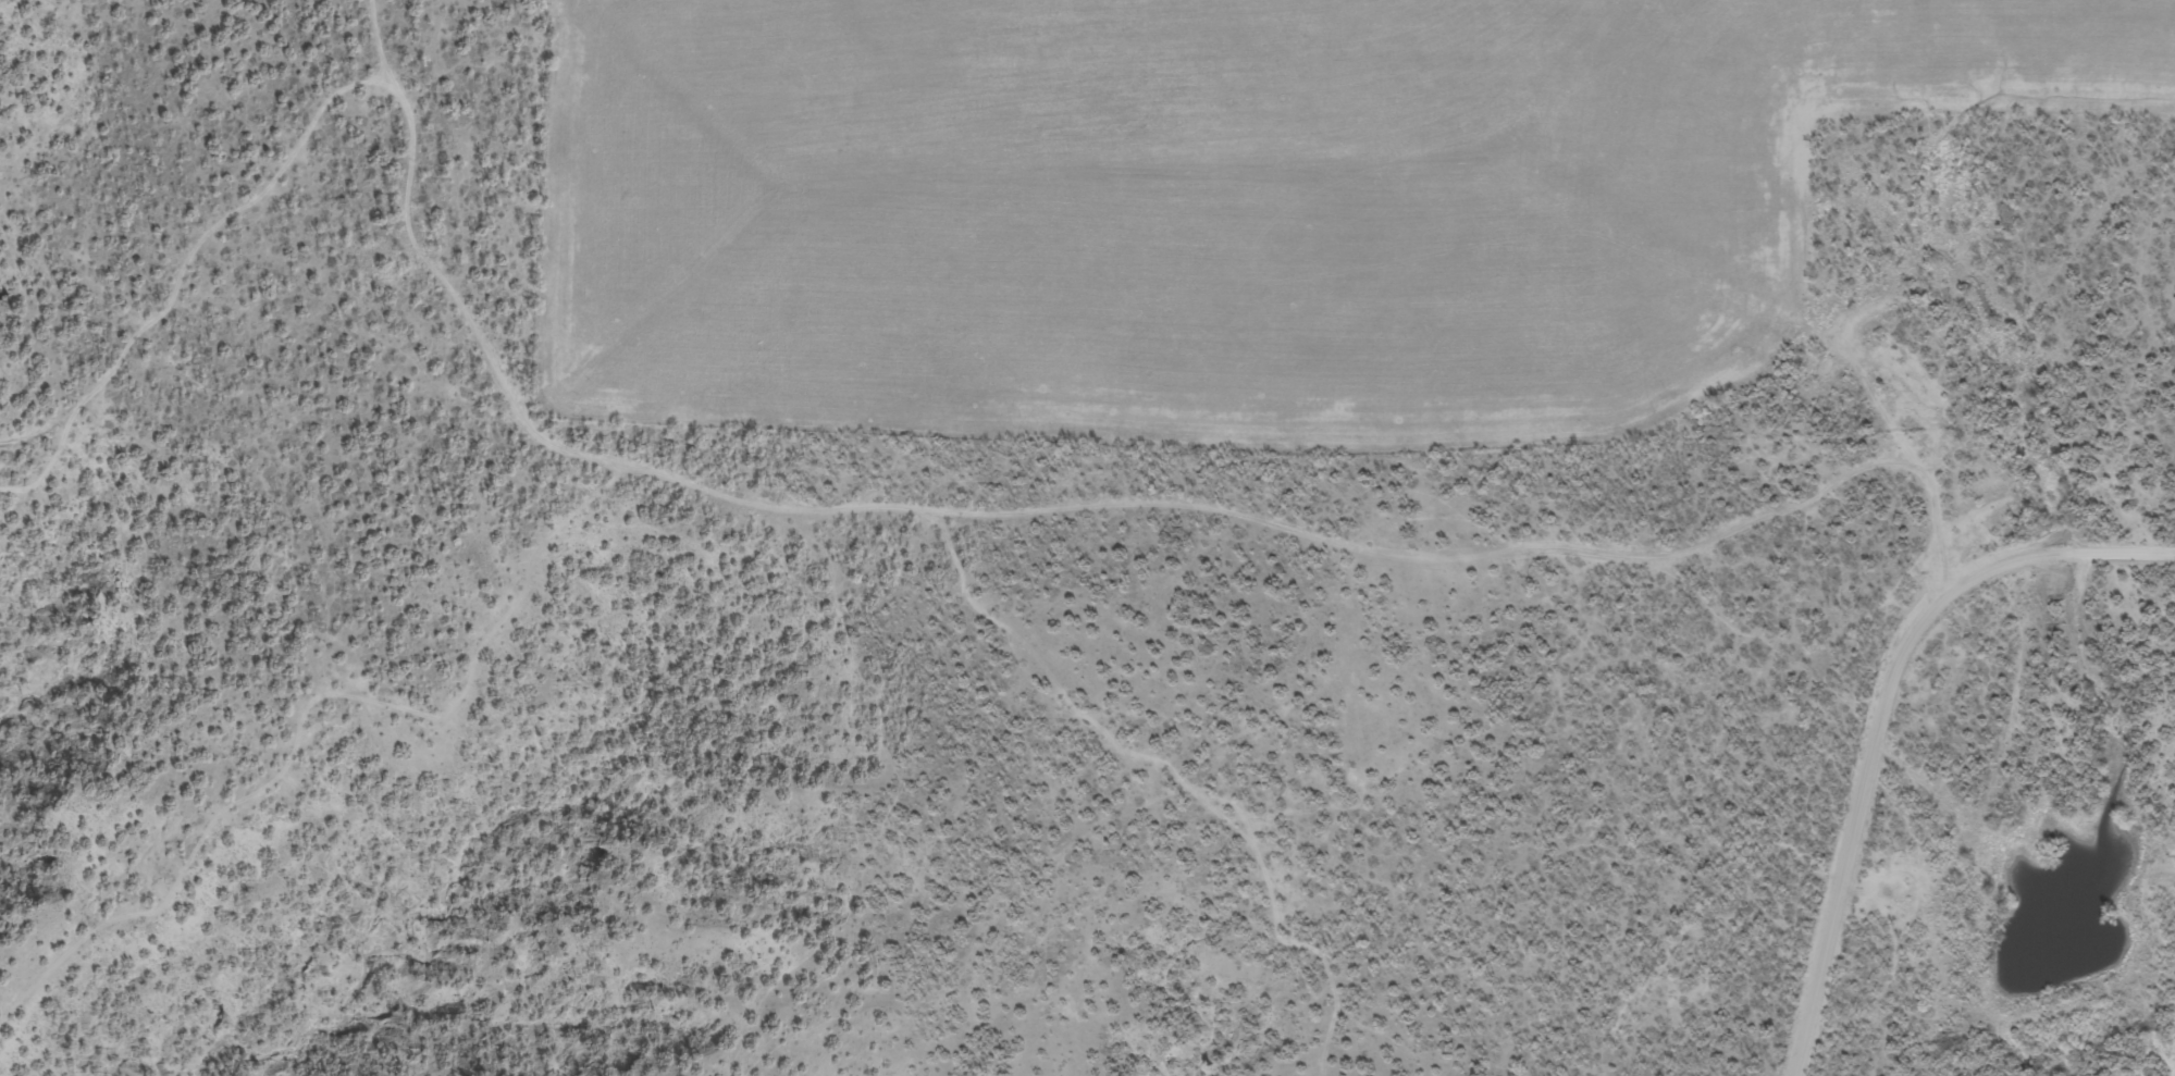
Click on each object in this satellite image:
road: (1883, 713)

